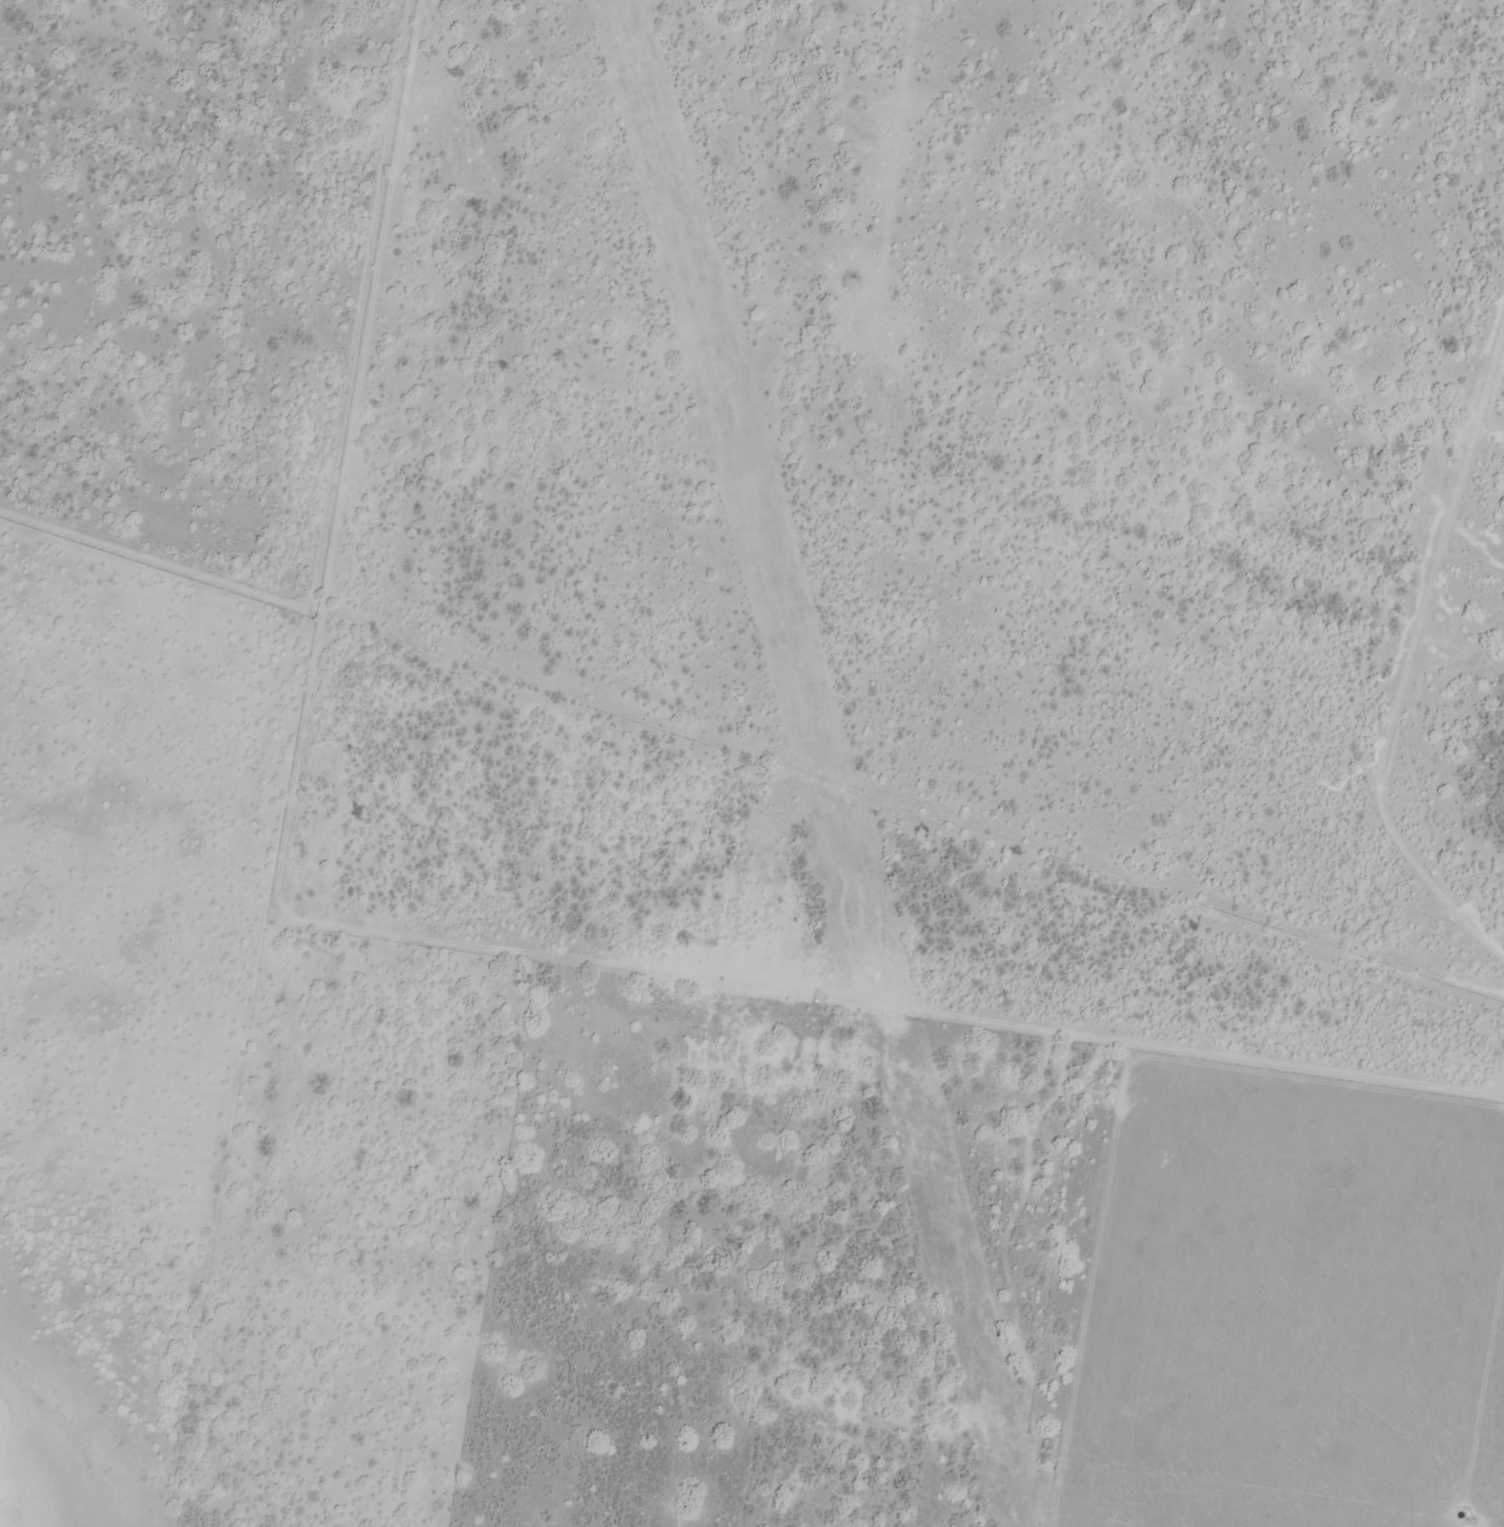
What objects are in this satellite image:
road: (752, 748)
road: (239, 1067)

